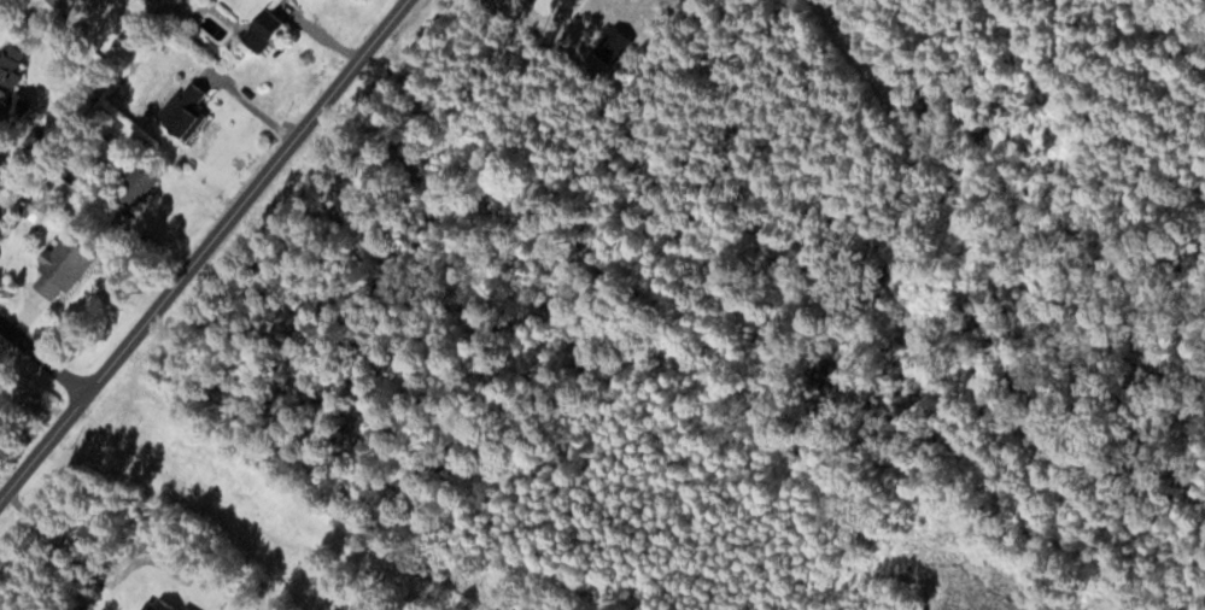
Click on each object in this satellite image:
building: (263, 27)
building: (19, 66)
building: (192, 111)
building: (146, 186)
road: (205, 251)
building: (70, 266)
road: (45, 356)

